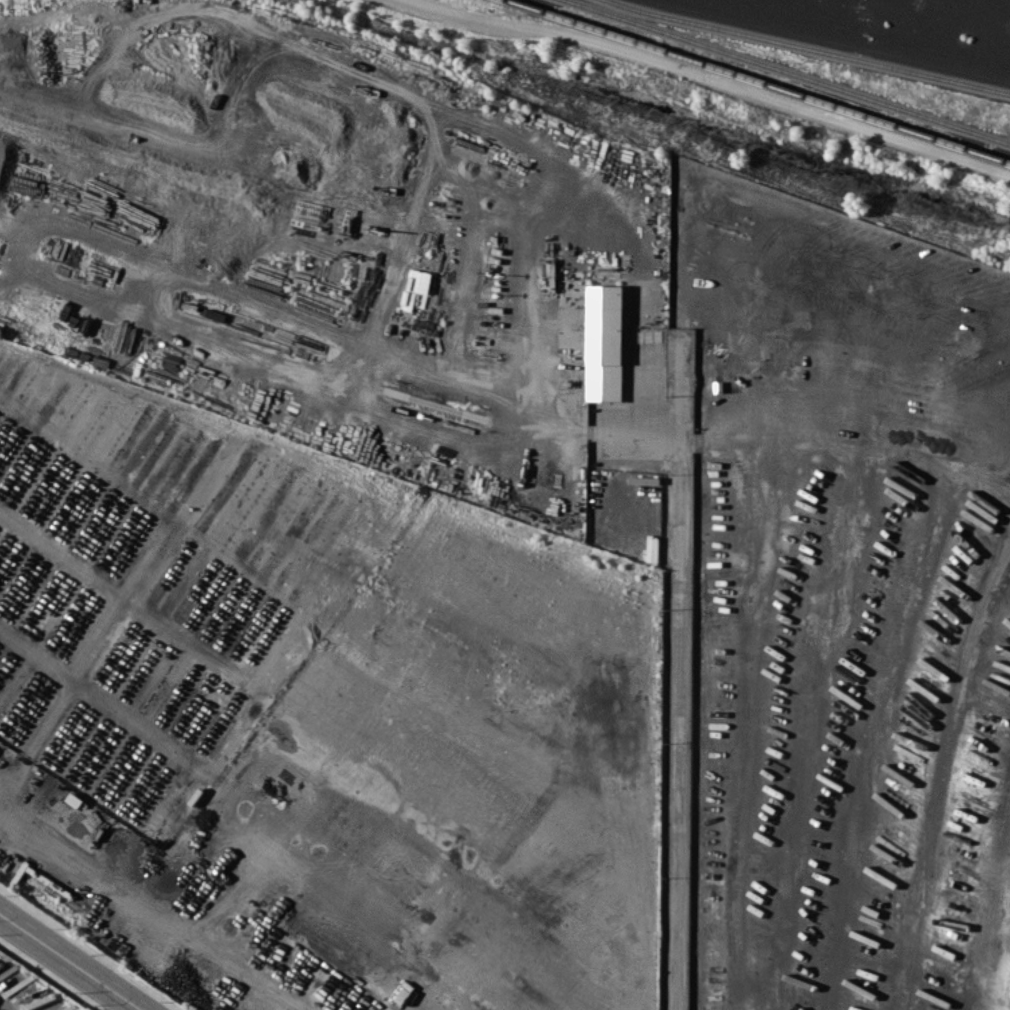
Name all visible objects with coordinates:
railway: (809, 47)
railway: (790, 70)
road: (710, 80)
railway: (760, 80)
building: (603, 343)
road: (678, 669)
road: (71, 961)

